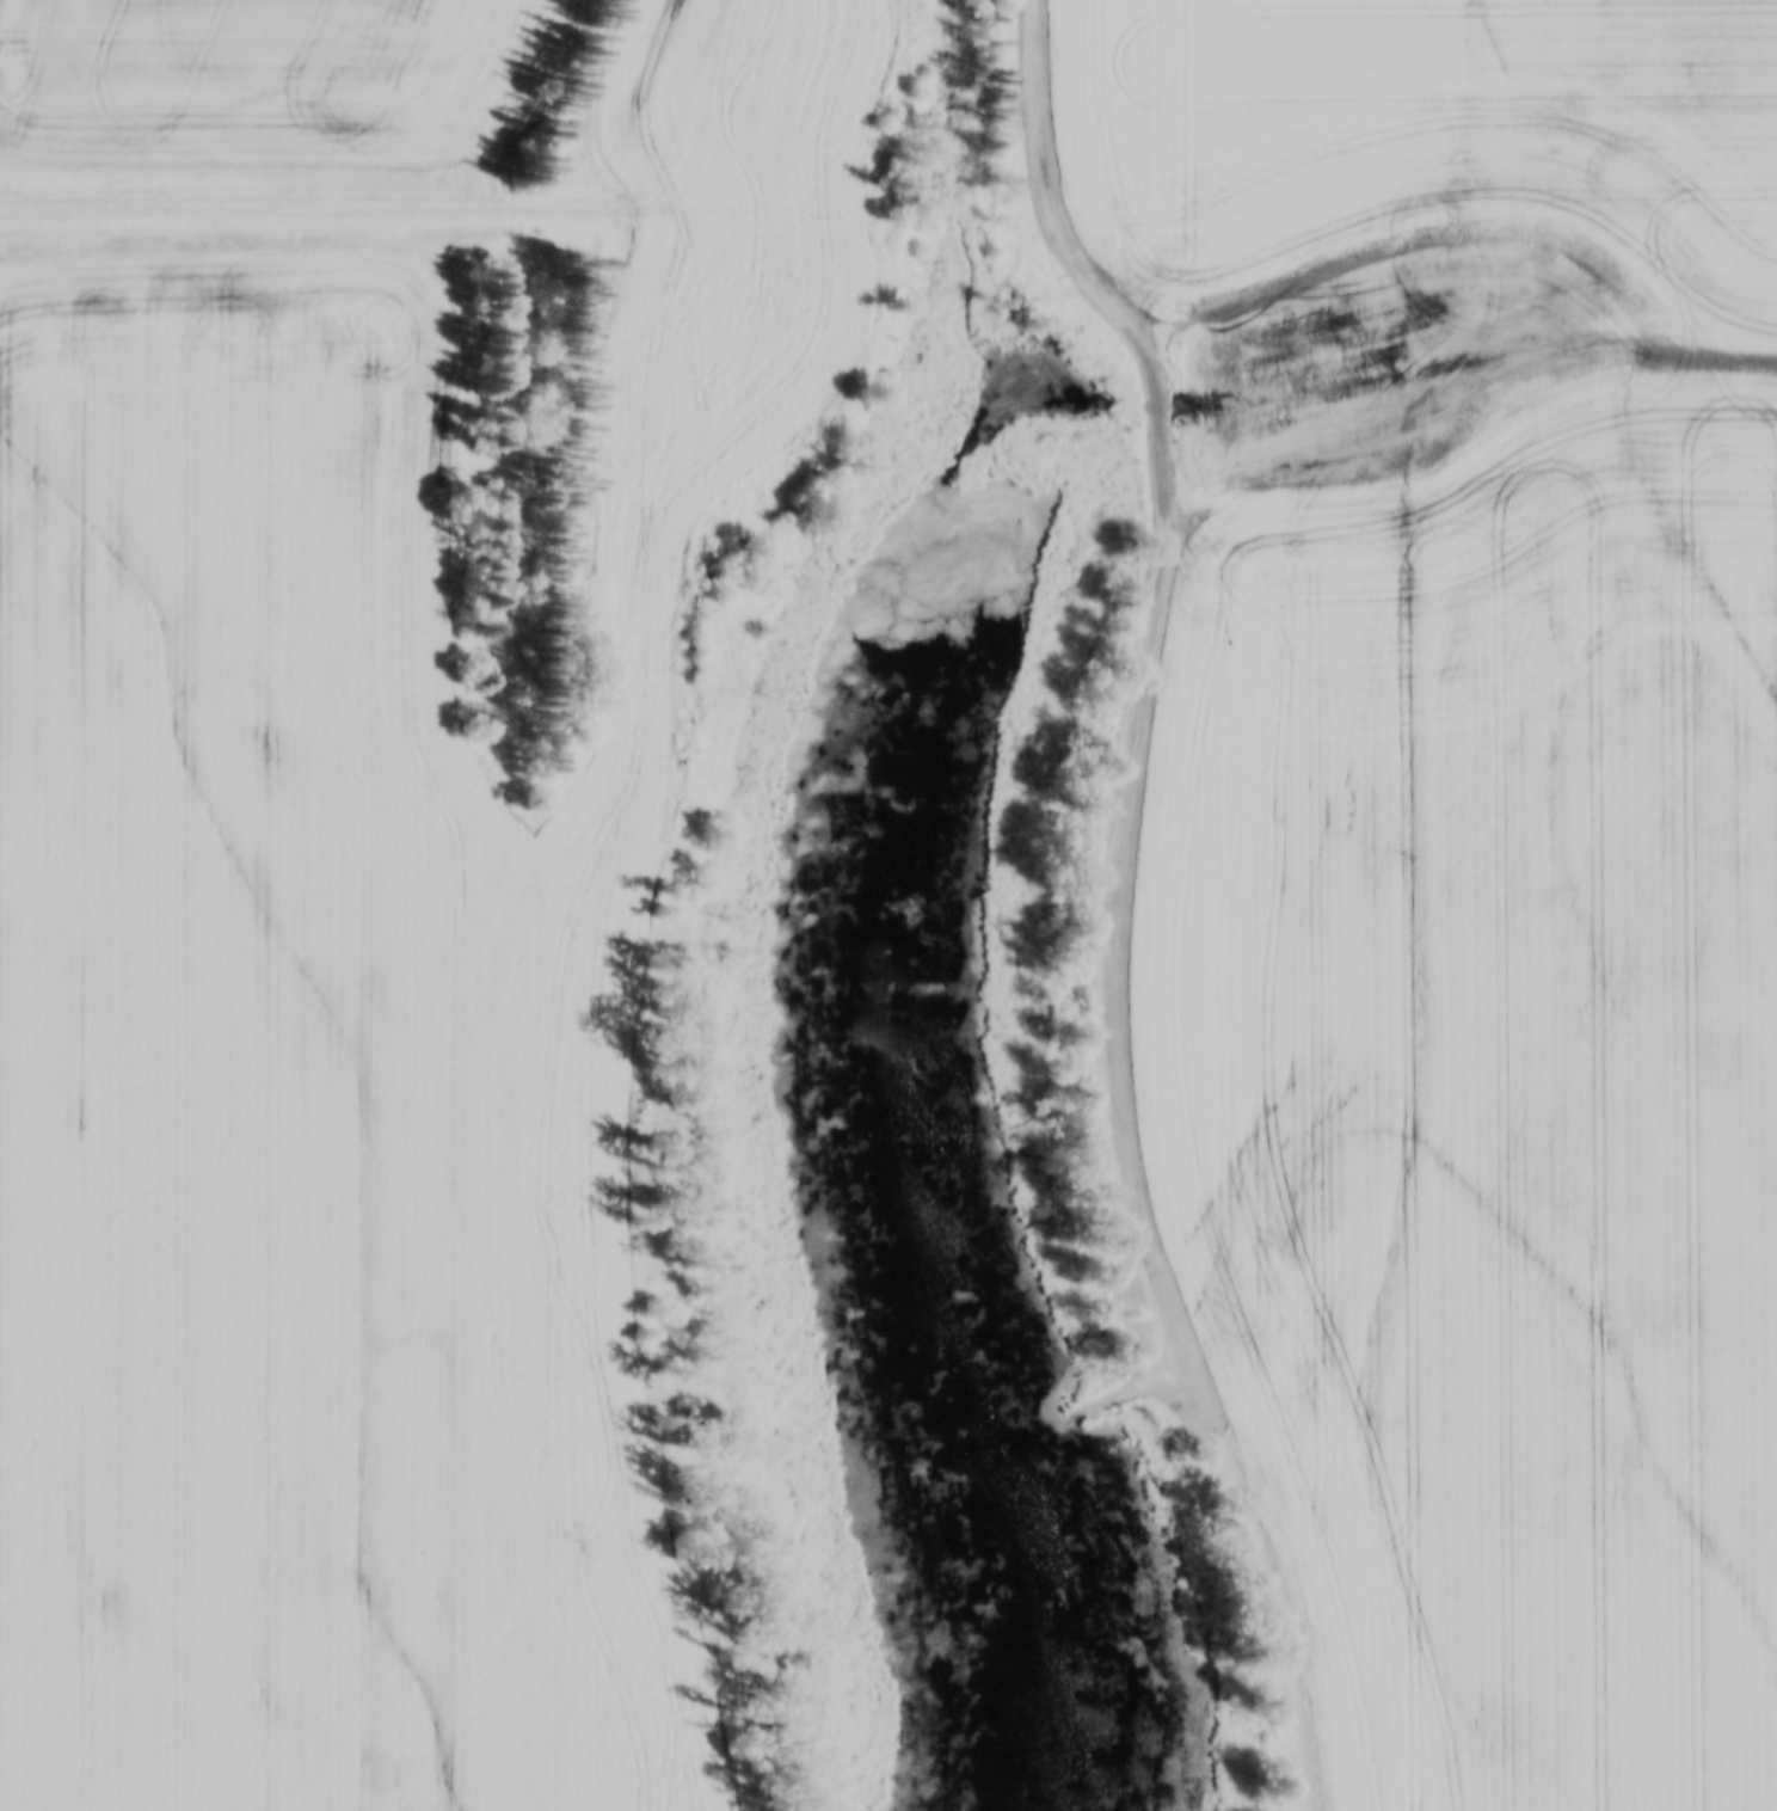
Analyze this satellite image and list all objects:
road: (1298, 895)

